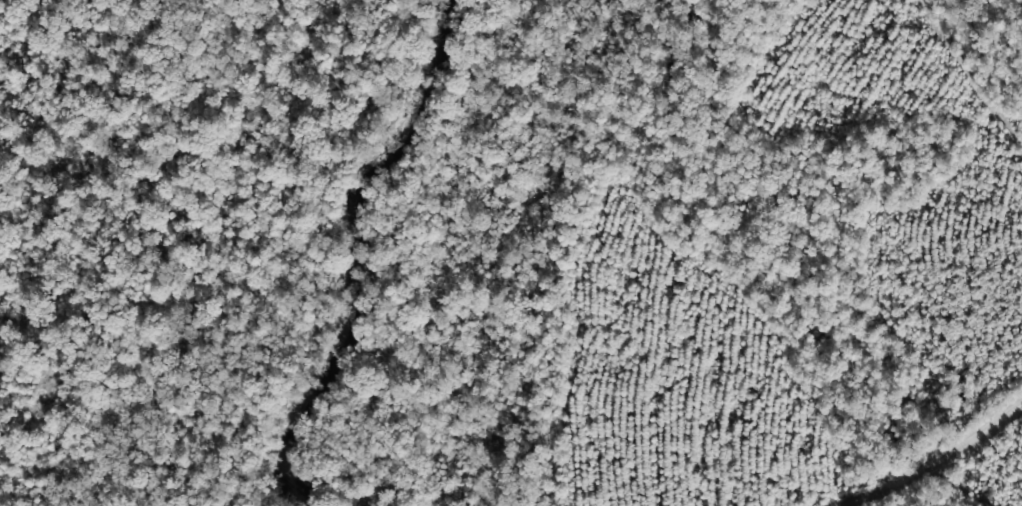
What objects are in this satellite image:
road: (969, 485)

